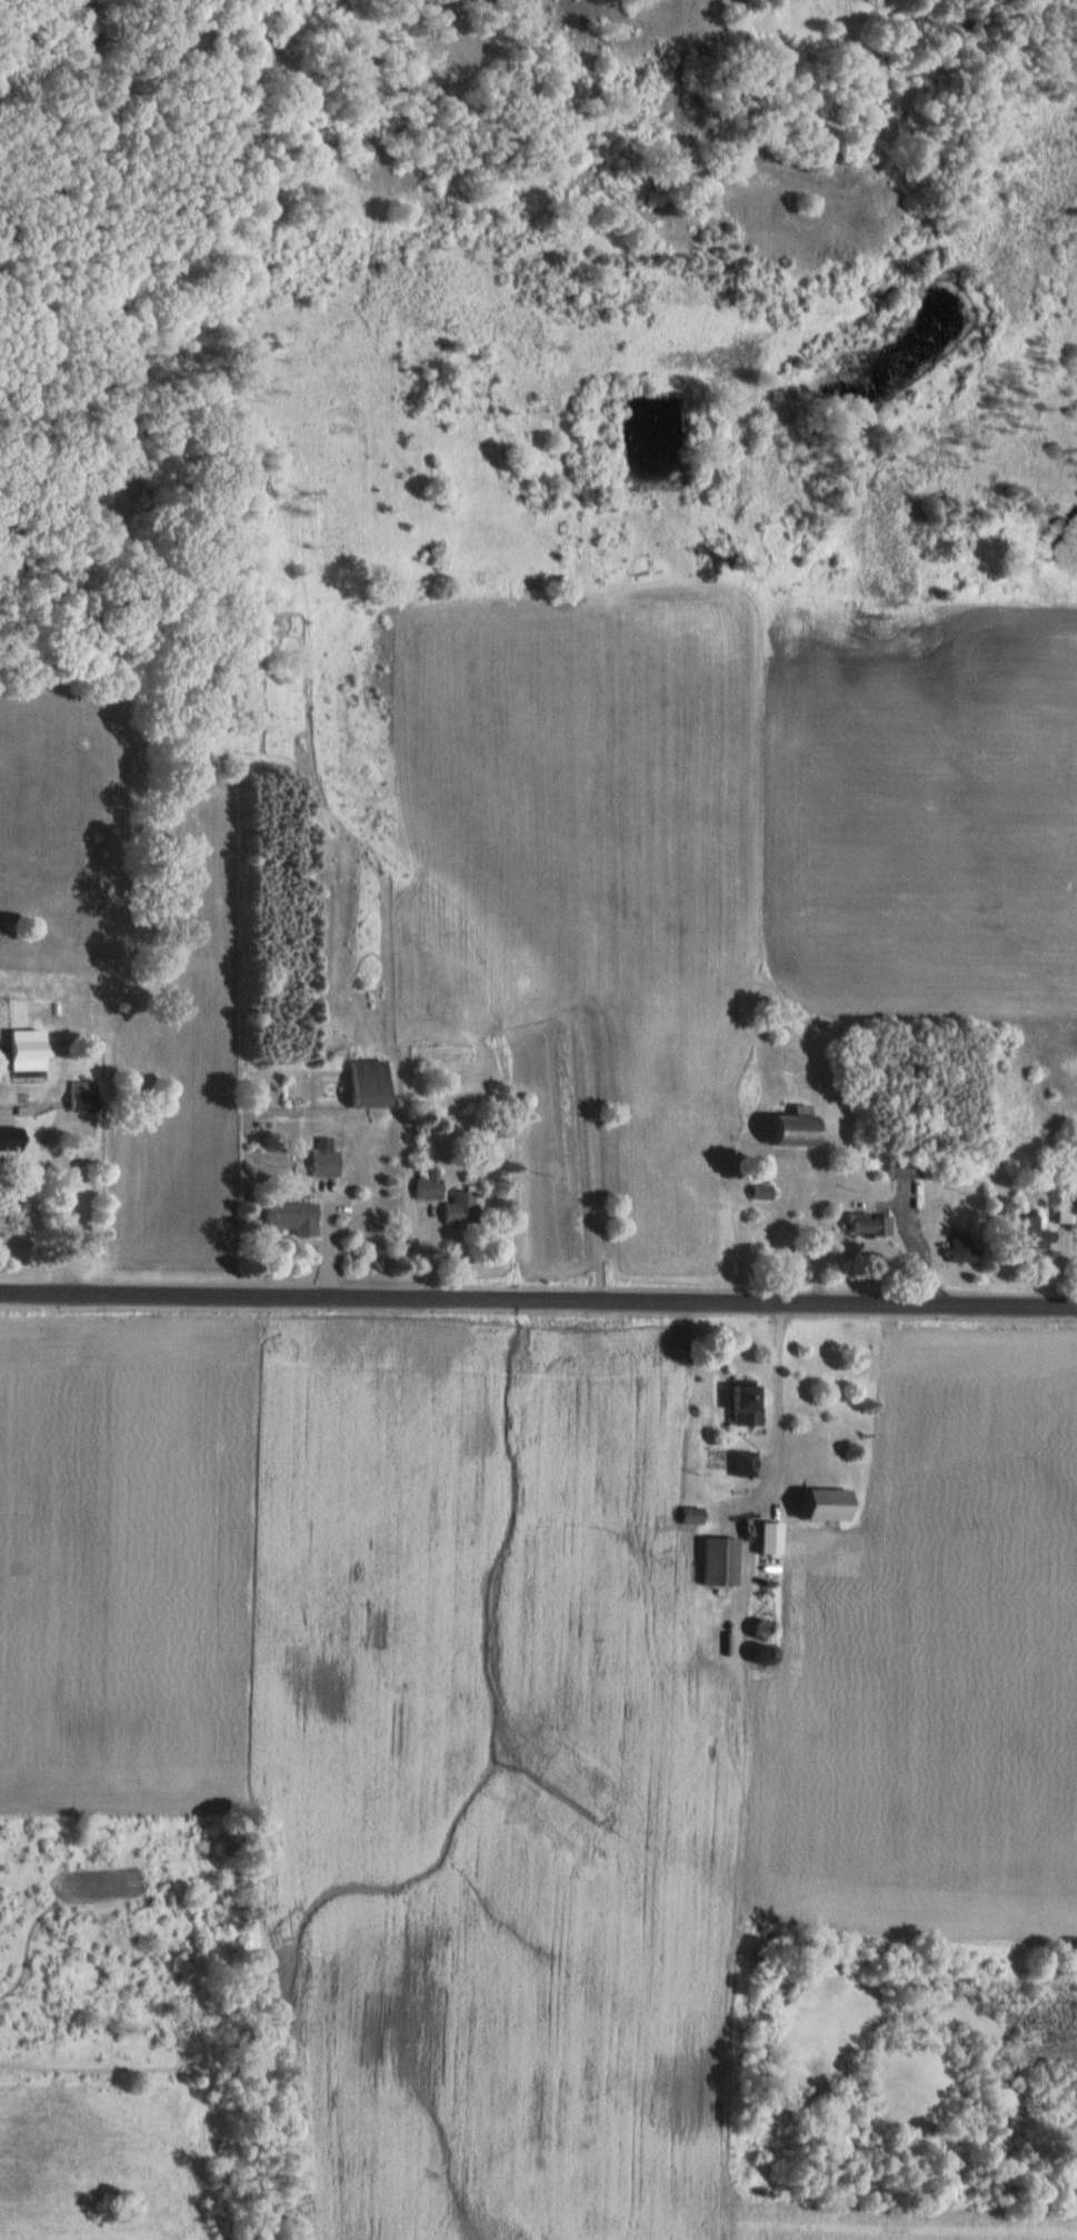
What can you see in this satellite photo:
building: (24, 1049)
building: (363, 1084)
building: (78, 1095)
building: (786, 1128)
building: (4, 1133)
building: (321, 1158)
building: (901, 1168)
building: (423, 1185)
building: (9, 1208)
building: (457, 1208)
building: (1060, 1212)
building: (286, 1219)
building: (865, 1225)
building: (1021, 1233)
building: (960, 1251)
road: (538, 1295)
road: (777, 1376)
building: (737, 1404)
building: (738, 1464)
building: (811, 1506)
building: (686, 1516)
building: (764, 1539)
building: (716, 1562)

